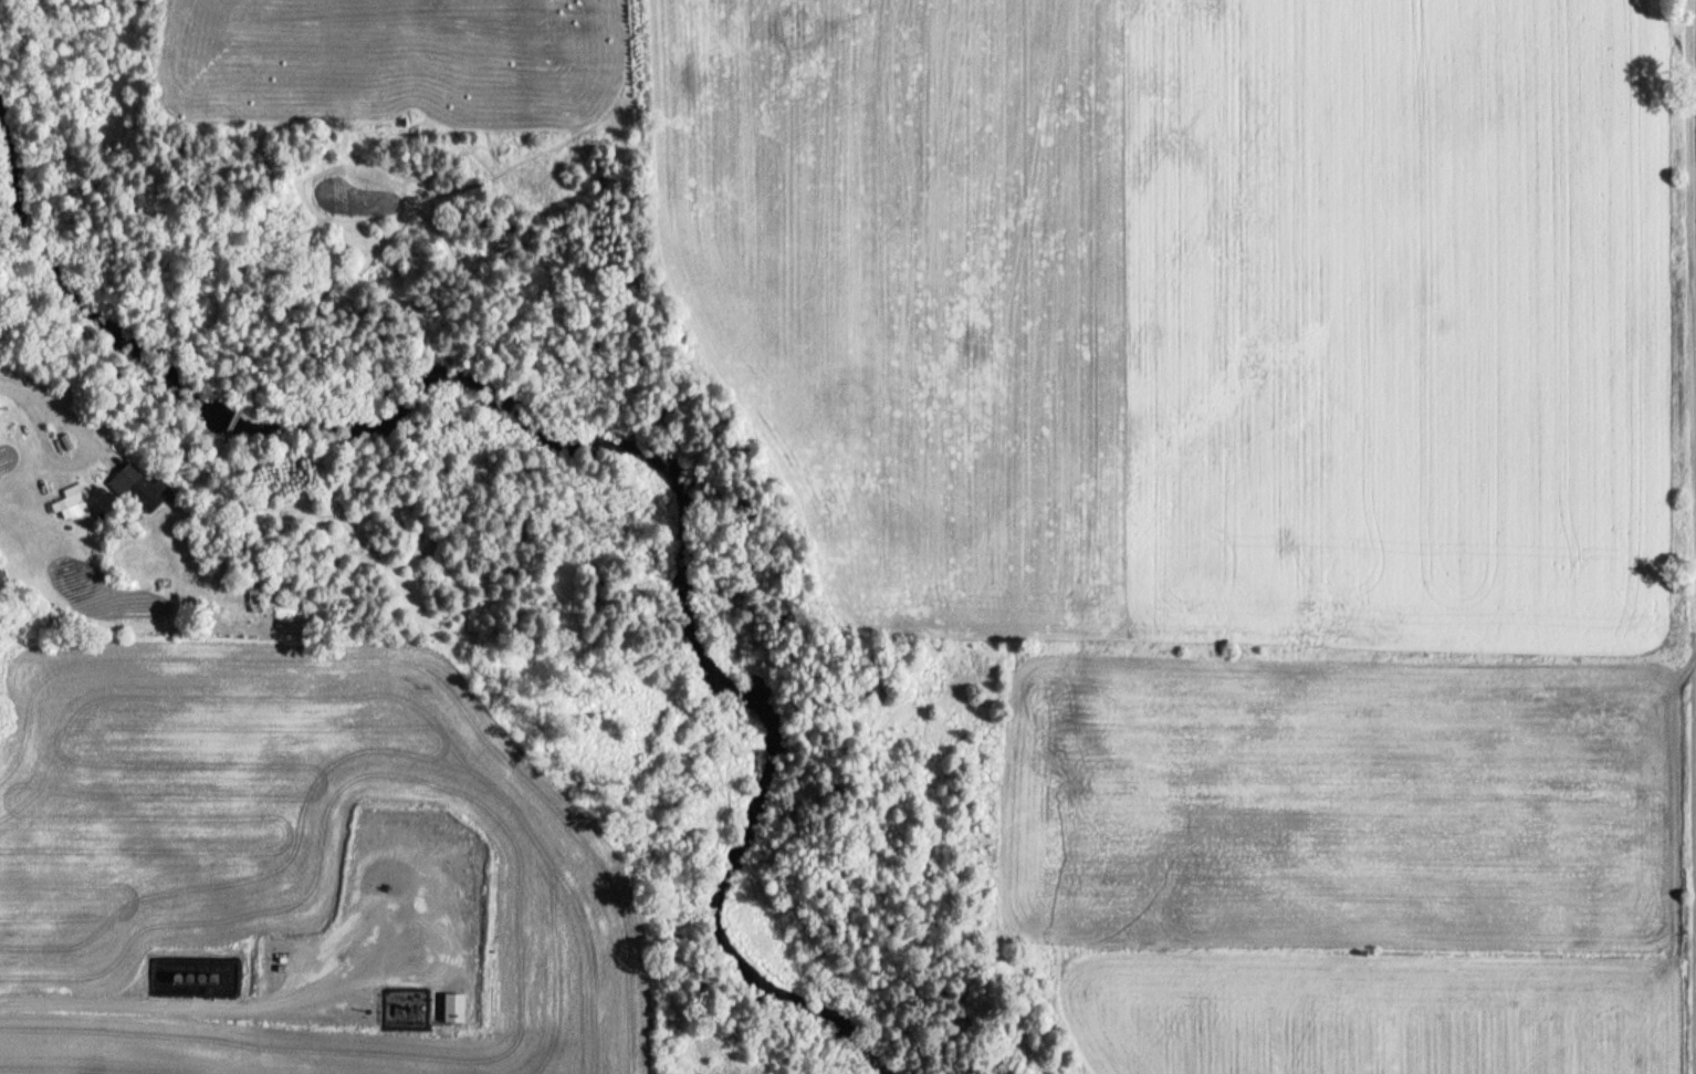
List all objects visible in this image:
river: (605, 434)
building: (139, 488)
building: (70, 503)
building: (258, 591)
building: (461, 855)
building: (458, 989)

